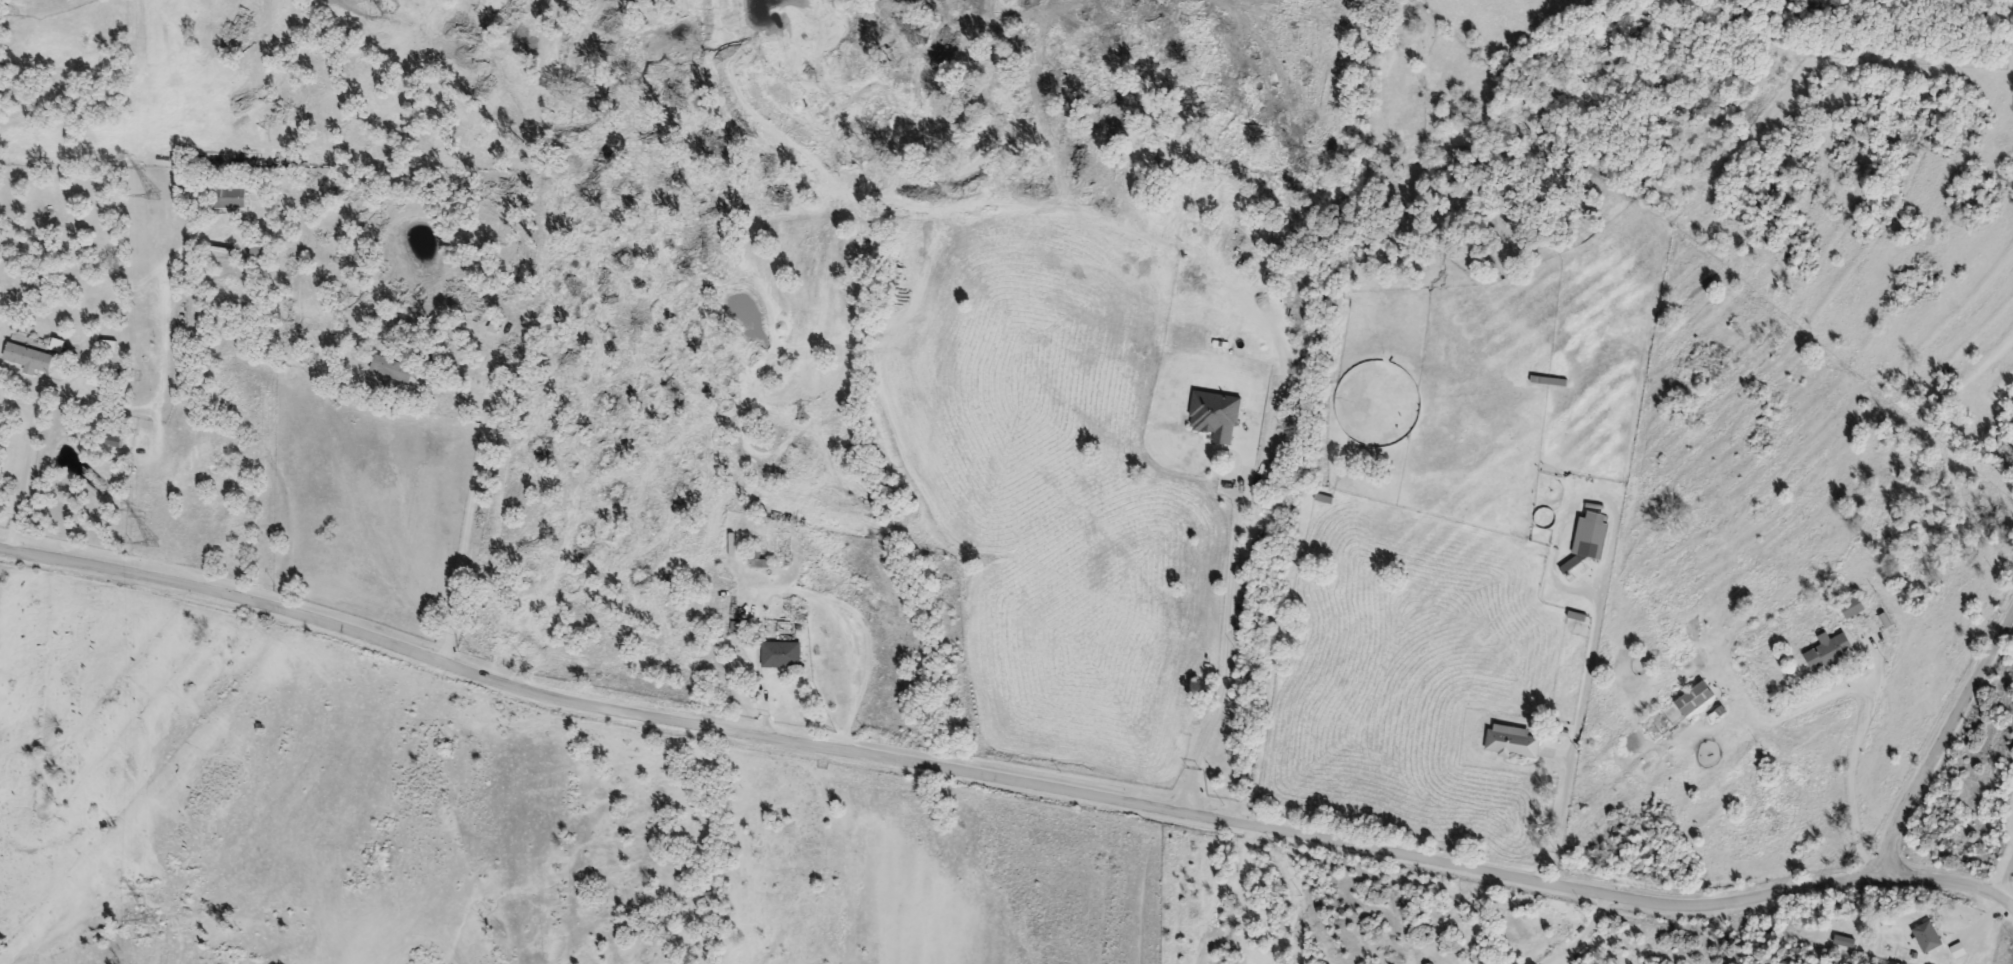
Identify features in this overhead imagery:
power tower: (151, 193)
building: (233, 197)
building: (262, 251)
building: (110, 347)
building: (31, 358)
building: (393, 371)
road: (161, 404)
road: (466, 540)
building: (1590, 540)
power tower: (154, 549)
building: (760, 565)
road: (811, 593)
building: (1854, 609)
road: (1224, 638)
building: (1830, 652)
building: (783, 656)
building: (1696, 700)
road: (1864, 702)
road: (1571, 737)
road: (1939, 741)
building: (1513, 743)
road: (931, 769)
road: (2003, 869)
road: (1946, 879)
power tower: (153, 924)
road: (1577, 932)
building: (1928, 938)

